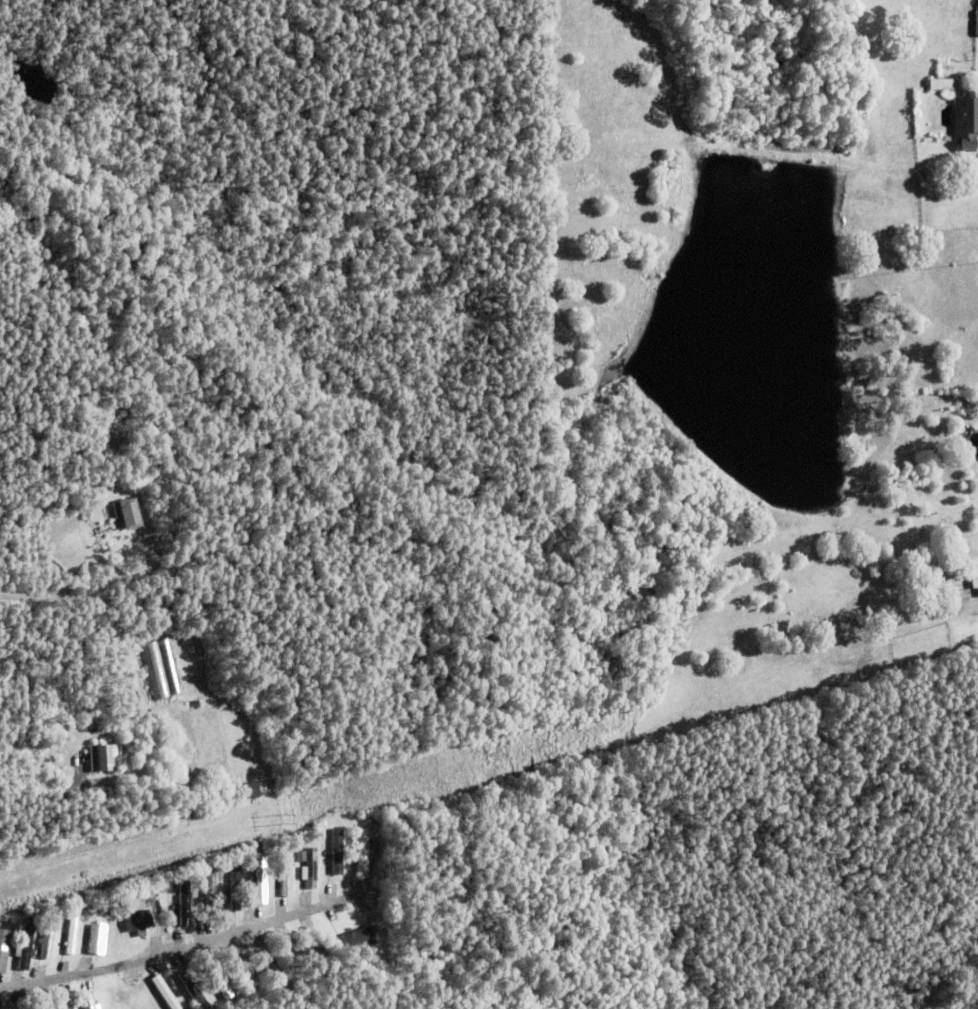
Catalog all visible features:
building: (976, 24)
building: (944, 86)
building: (965, 124)
building: (970, 216)
building: (129, 509)
building: (974, 581)
building: (162, 668)
building: (134, 696)
building: (196, 702)
building: (103, 755)
building: (250, 788)
road: (41, 819)
road: (92, 846)
building: (338, 849)
building: (363, 849)
building: (302, 854)
building: (310, 866)
building: (198, 872)
building: (287, 872)
building: (261, 879)
building: (235, 886)
building: (210, 891)
building: (187, 902)
building: (138, 919)
building: (0, 923)
building: (70, 933)
building: (359, 935)
building: (49, 938)
building: (99, 938)
building: (26, 945)
building: (4, 946)
road: (185, 947)
building: (309, 952)
building: (271, 967)
building: (245, 974)
building: (218, 979)
building: (193, 989)
building: (165, 992)
building: (37, 994)
building: (65, 1001)
building: (88, 1001)
building: (41, 1005)
building: (20, 1008)

